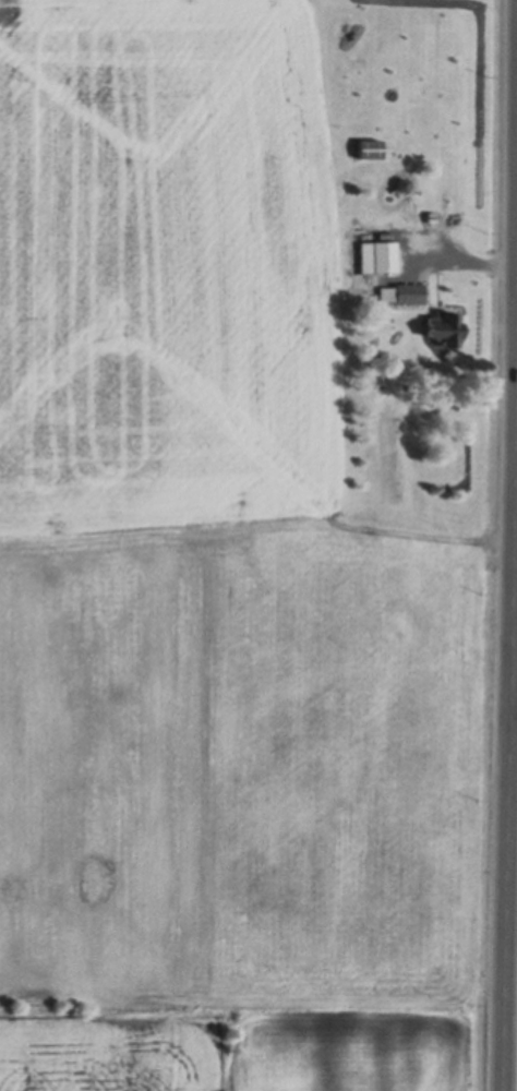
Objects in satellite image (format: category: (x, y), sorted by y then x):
building: (368, 149)
building: (430, 217)
building: (376, 257)
road: (459, 260)
building: (401, 295)
building: (443, 329)
road: (510, 676)

